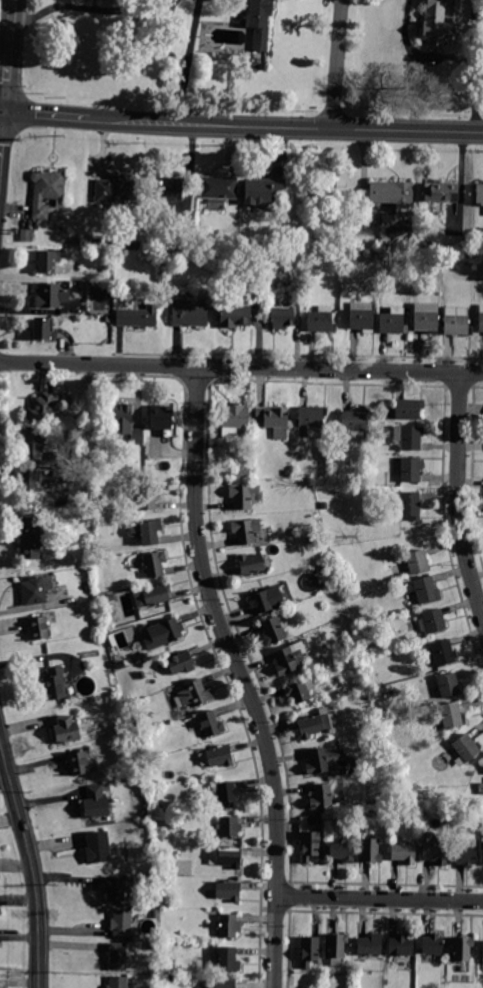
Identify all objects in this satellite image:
road: (73, 7)
building: (259, 22)
building: (437, 23)
road: (446, 55)
road: (11, 56)
road: (189, 62)
road: (335, 64)
road: (2, 111)
traffic signals: (4, 112)
road: (46, 115)
road: (285, 127)
road: (1, 129)
building: (115, 189)
building: (170, 189)
building: (219, 189)
building: (261, 190)
building: (47, 191)
building: (441, 192)
building: (391, 193)
building: (479, 194)
building: (26, 236)
building: (76, 242)
building: (133, 246)
building: (48, 261)
building: (109, 288)
building: (51, 296)
building: (188, 314)
building: (233, 314)
building: (137, 317)
building: (362, 317)
building: (426, 317)
building: (282, 318)
building: (481, 319)
building: (321, 320)
building: (456, 321)
building: (393, 322)
building: (42, 329)
road: (241, 367)
building: (42, 407)
building: (408, 409)
building: (161, 417)
building: (273, 420)
building: (311, 420)
building: (124, 422)
building: (354, 423)
building: (233, 425)
building: (409, 437)
building: (32, 445)
building: (242, 455)
building: (411, 470)
building: (241, 472)
building: (287, 473)
building: (317, 478)
building: (30, 482)
building: (147, 497)
building: (242, 497)
road: (457, 497)
building: (410, 504)
building: (324, 506)
building: (245, 531)
building: (145, 532)
building: (29, 539)
building: (309, 541)
building: (95, 547)
building: (417, 562)
building: (95, 564)
building: (154, 564)
building: (250, 564)
building: (328, 565)
building: (37, 590)
building: (426, 590)
building: (152, 596)
building: (110, 598)
building: (267, 600)
building: (431, 622)
building: (39, 628)
building: (272, 632)
building: (163, 634)
building: (443, 653)
building: (289, 658)
building: (181, 663)
building: (121, 664)
road: (242, 676)
building: (53, 685)
building: (448, 686)
building: (300, 691)
building: (193, 695)
building: (128, 699)
building: (451, 715)
building: (132, 721)
building: (386, 722)
building: (210, 724)
building: (314, 724)
building: (371, 726)
building: (66, 730)
building: (333, 744)
building: (466, 748)
building: (216, 756)
building: (324, 760)
building: (79, 763)
building: (398, 780)
building: (227, 792)
building: (321, 796)
building: (96, 801)
building: (229, 826)
building: (310, 845)
building: (98, 847)
building: (342, 850)
building: (370, 850)
building: (403, 853)
building: (435, 854)
building: (467, 854)
building: (225, 857)
road: (32, 864)
building: (118, 888)
building: (225, 891)
road: (380, 899)
building: (166, 902)
building: (155, 913)
building: (121, 923)
building: (228, 925)
building: (432, 944)
building: (370, 945)
building: (401, 945)
building: (152, 946)
building: (336, 948)
building: (462, 948)
building: (482, 949)
building: (309, 950)
building: (120, 958)
building: (227, 960)
road: (19, 969)
building: (174, 978)
building: (117, 982)
building: (222, 984)

